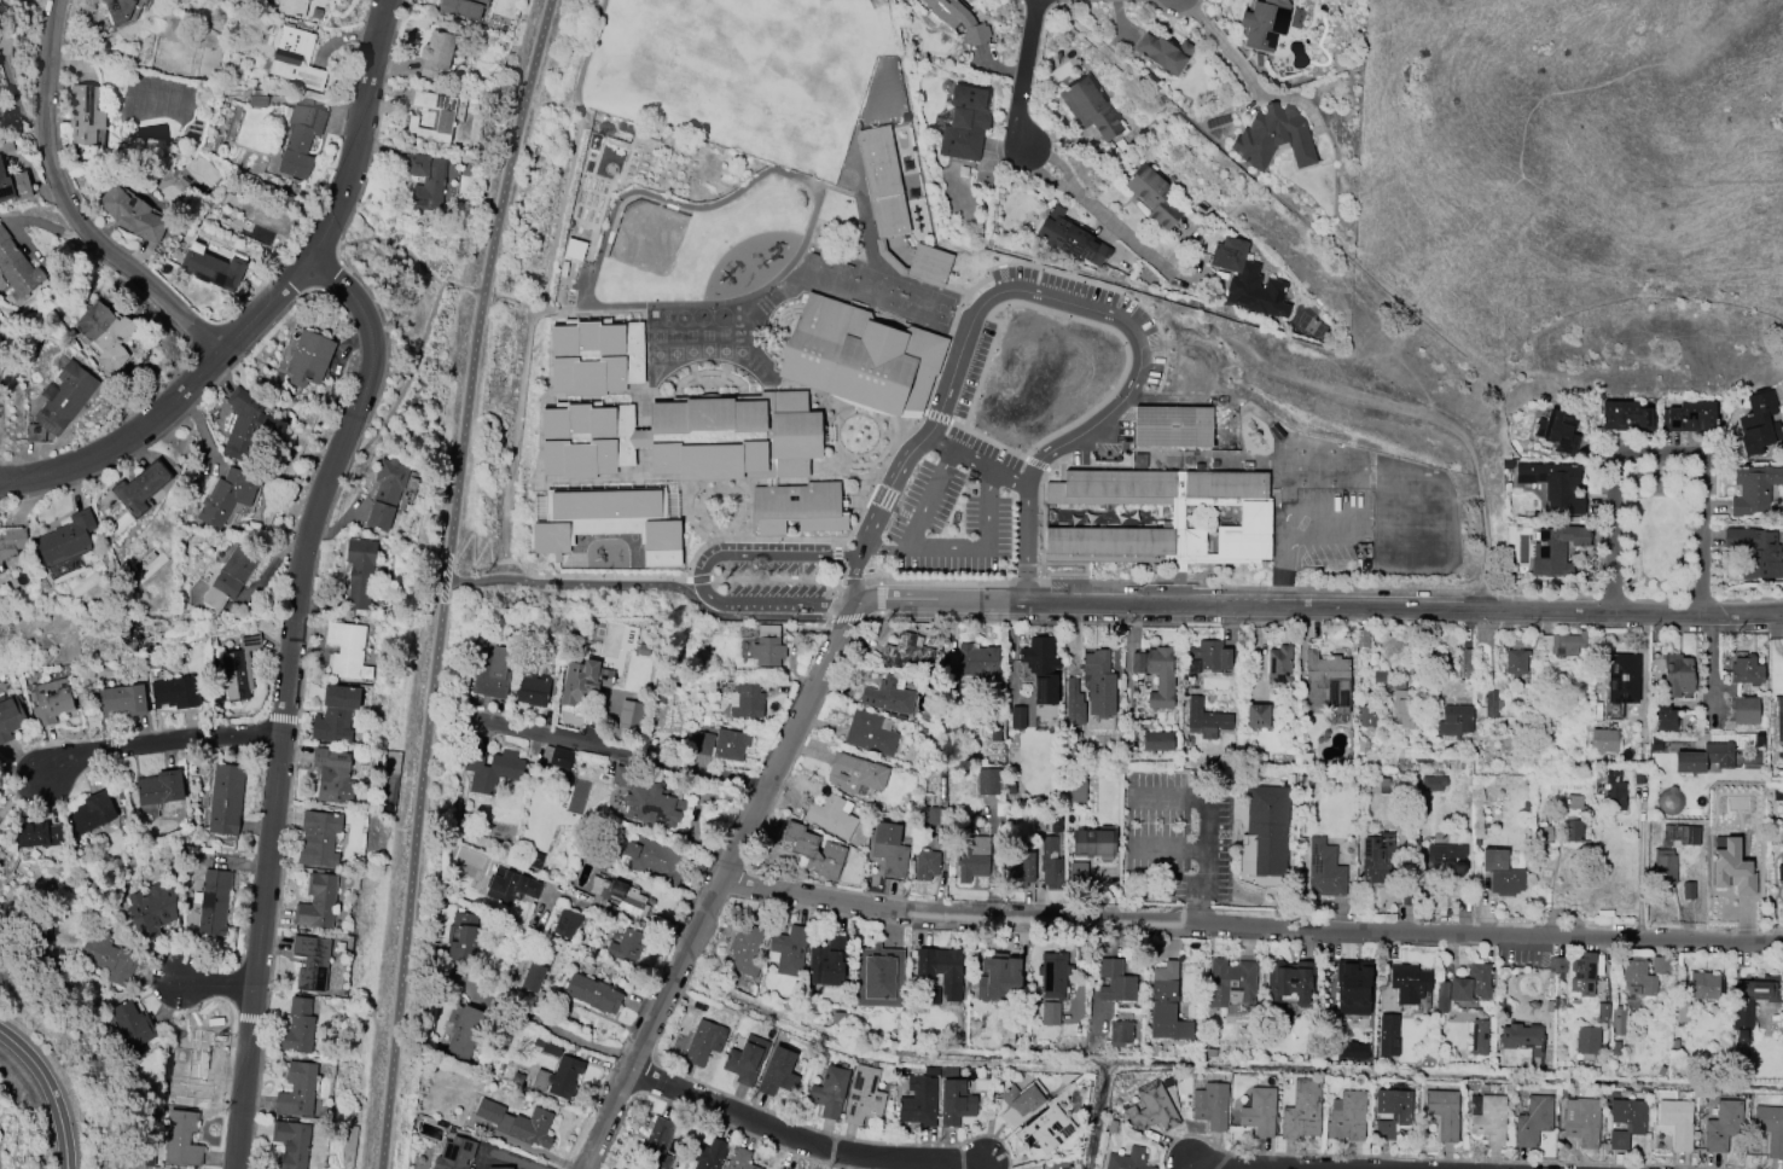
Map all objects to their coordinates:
building: (151, 0)
building: (333, 0)
building: (292, 7)
building: (463, 7)
building: (118, 10)
building: (959, 19)
building: (1264, 23)
road: (1229, 50)
building: (1162, 52)
building: (436, 53)
building: (295, 58)
road: (1036, 72)
building: (257, 98)
building: (1091, 107)
building: (85, 114)
building: (443, 121)
building: (964, 122)
building: (300, 136)
building: (1273, 138)
building: (6, 144)
building: (426, 179)
building: (13, 186)
building: (1155, 196)
building: (894, 207)
road: (74, 208)
road: (1103, 211)
building: (133, 214)
building: (1069, 237)
building: (574, 249)
building: (17, 267)
building: (213, 269)
building: (1247, 279)
road: (488, 290)
road: (275, 301)
road: (1088, 307)
building: (105, 335)
building: (861, 356)
building: (596, 357)
building: (308, 359)
road: (413, 366)
building: (60, 401)
building: (1626, 415)
building: (1689, 417)
building: (1759, 423)
building: (249, 426)
building: (1172, 426)
building: (1557, 430)
building: (683, 436)
road: (1663, 453)
road: (913, 460)
road: (5, 479)
road: (5, 483)
building: (1553, 483)
building: (140, 488)
building: (1754, 490)
building: (385, 493)
building: (226, 495)
road: (927, 498)
road: (1347, 504)
building: (797, 507)
building: (1166, 516)
building: (606, 523)
road: (1030, 527)
building: (66, 537)
building: (12, 542)
road: (963, 547)
building: (1555, 549)
building: (1755, 552)
building: (360, 571)
road: (702, 576)
road: (840, 576)
building: (230, 577)
road: (602, 577)
road: (858, 577)
road: (1284, 577)
road: (661, 584)
road: (853, 592)
road: (838, 605)
road: (1236, 606)
road: (1697, 615)
building: (1361, 638)
building: (1566, 642)
building: (767, 646)
building: (347, 650)
building: (907, 653)
building: (1210, 656)
road: (1708, 659)
building: (978, 661)
building: (1516, 662)
building: (1468, 663)
building: (1279, 664)
building: (239, 667)
building: (1041, 668)
building: (1744, 670)
building: (493, 674)
building: (1156, 674)
building: (1380, 675)
building: (1677, 675)
building: (1621, 679)
building: (1331, 680)
building: (582, 681)
building: (1098, 684)
building: (533, 690)
building: (174, 693)
road: (284, 694)
building: (888, 696)
building: (123, 699)
building: (50, 700)
building: (745, 700)
building: (1074, 703)
building: (1489, 704)
building: (1402, 706)
building: (1744, 710)
building: (335, 713)
building: (10, 715)
building: (631, 715)
building: (1258, 715)
building: (1366, 716)
building: (1017, 717)
building: (1206, 719)
building: (1665, 719)
building: (1779, 719)
building: (1454, 720)
building: (870, 732)
building: (1157, 740)
building: (1603, 740)
road: (161, 743)
building: (721, 744)
road: (626, 752)
building: (561, 757)
building: (1704, 757)
building: (492, 769)
road: (23, 772)
building: (854, 773)
building: (332, 775)
building: (621, 777)
building: (987, 781)
building: (1433, 783)
building: (159, 787)
building: (1615, 790)
building: (1078, 791)
building: (226, 798)
building: (652, 805)
building: (92, 813)
building: (832, 815)
road: (1206, 819)
building: (1573, 819)
building: (1683, 833)
building: (39, 834)
building: (318, 837)
building: (1262, 839)
building: (1094, 842)
building: (890, 849)
building: (813, 850)
road: (1167, 853)
building: (1376, 854)
building: (972, 857)
building: (652, 859)
building: (1446, 859)
building: (1050, 863)
building: (925, 866)
building: (1730, 866)
building: (1020, 867)
building: (1663, 868)
building: (1324, 870)
road: (1644, 870)
building: (1078, 873)
building: (1502, 873)
road: (418, 877)
building: (1779, 877)
building: (510, 886)
road: (719, 886)
road: (1187, 889)
building: (1688, 890)
road: (1551, 892)
building: (620, 895)
building: (316, 901)
building: (213, 902)
building: (151, 909)
road: (603, 909)
building: (567, 924)
road: (1251, 924)
building: (461, 937)
building: (627, 946)
building: (744, 949)
building: (788, 950)
building: (108, 958)
building: (310, 961)
building: (827, 961)
building: (1556, 964)
building: (941, 969)
building: (1053, 973)
building: (1582, 973)
building: (1643, 973)
building: (532, 977)
building: (878, 977)
building: (998, 977)
building: (1115, 982)
building: (1290, 982)
building: (1409, 982)
building: (1230, 983)
road: (210, 984)
building: (1473, 985)
building: (1704, 985)
building: (1353, 988)
building: (592, 993)
building: (1441, 996)
building: (1752, 1002)
building: (1166, 1005)
building: (1682, 1011)
building: (1602, 1012)
building: (1051, 1013)
building: (1616, 1020)
building: (132, 1026)
building: (297, 1026)
building: (464, 1031)
road: (559, 1031)
building: (1120, 1034)
building: (1388, 1035)
building: (1477, 1037)
building: (1587, 1040)
building: (704, 1041)
building: (1523, 1041)
building: (1352, 1051)
building: (745, 1059)
building: (194, 1065)
building: (777, 1072)
building: (558, 1077)
road: (53, 1089)
building: (296, 1091)
building: (829, 1092)
building: (863, 1094)
building: (918, 1101)
building: (1018, 1101)
building: (954, 1103)
building: (1210, 1105)
building: (1151, 1107)
building: (1302, 1110)
building: (1259, 1111)
building: (1392, 1111)
building: (1442, 1111)
building: (1346, 1116)
building: (1489, 1119)
building: (1533, 1121)
building: (1626, 1121)
building: (1677, 1121)
building: (517, 1122)
building: (1582, 1122)
building: (1723, 1126)
building: (1045, 1128)
building: (1770, 1128)
road: (808, 1136)
building: (182, 1138)
building: (291, 1144)
building: (657, 1144)
building: (455, 1153)
building: (708, 1155)
building: (739, 1159)
building: (1128, 1159)
road: (1224, 1167)
building: (500, 1168)
building: (1035, 1168)

